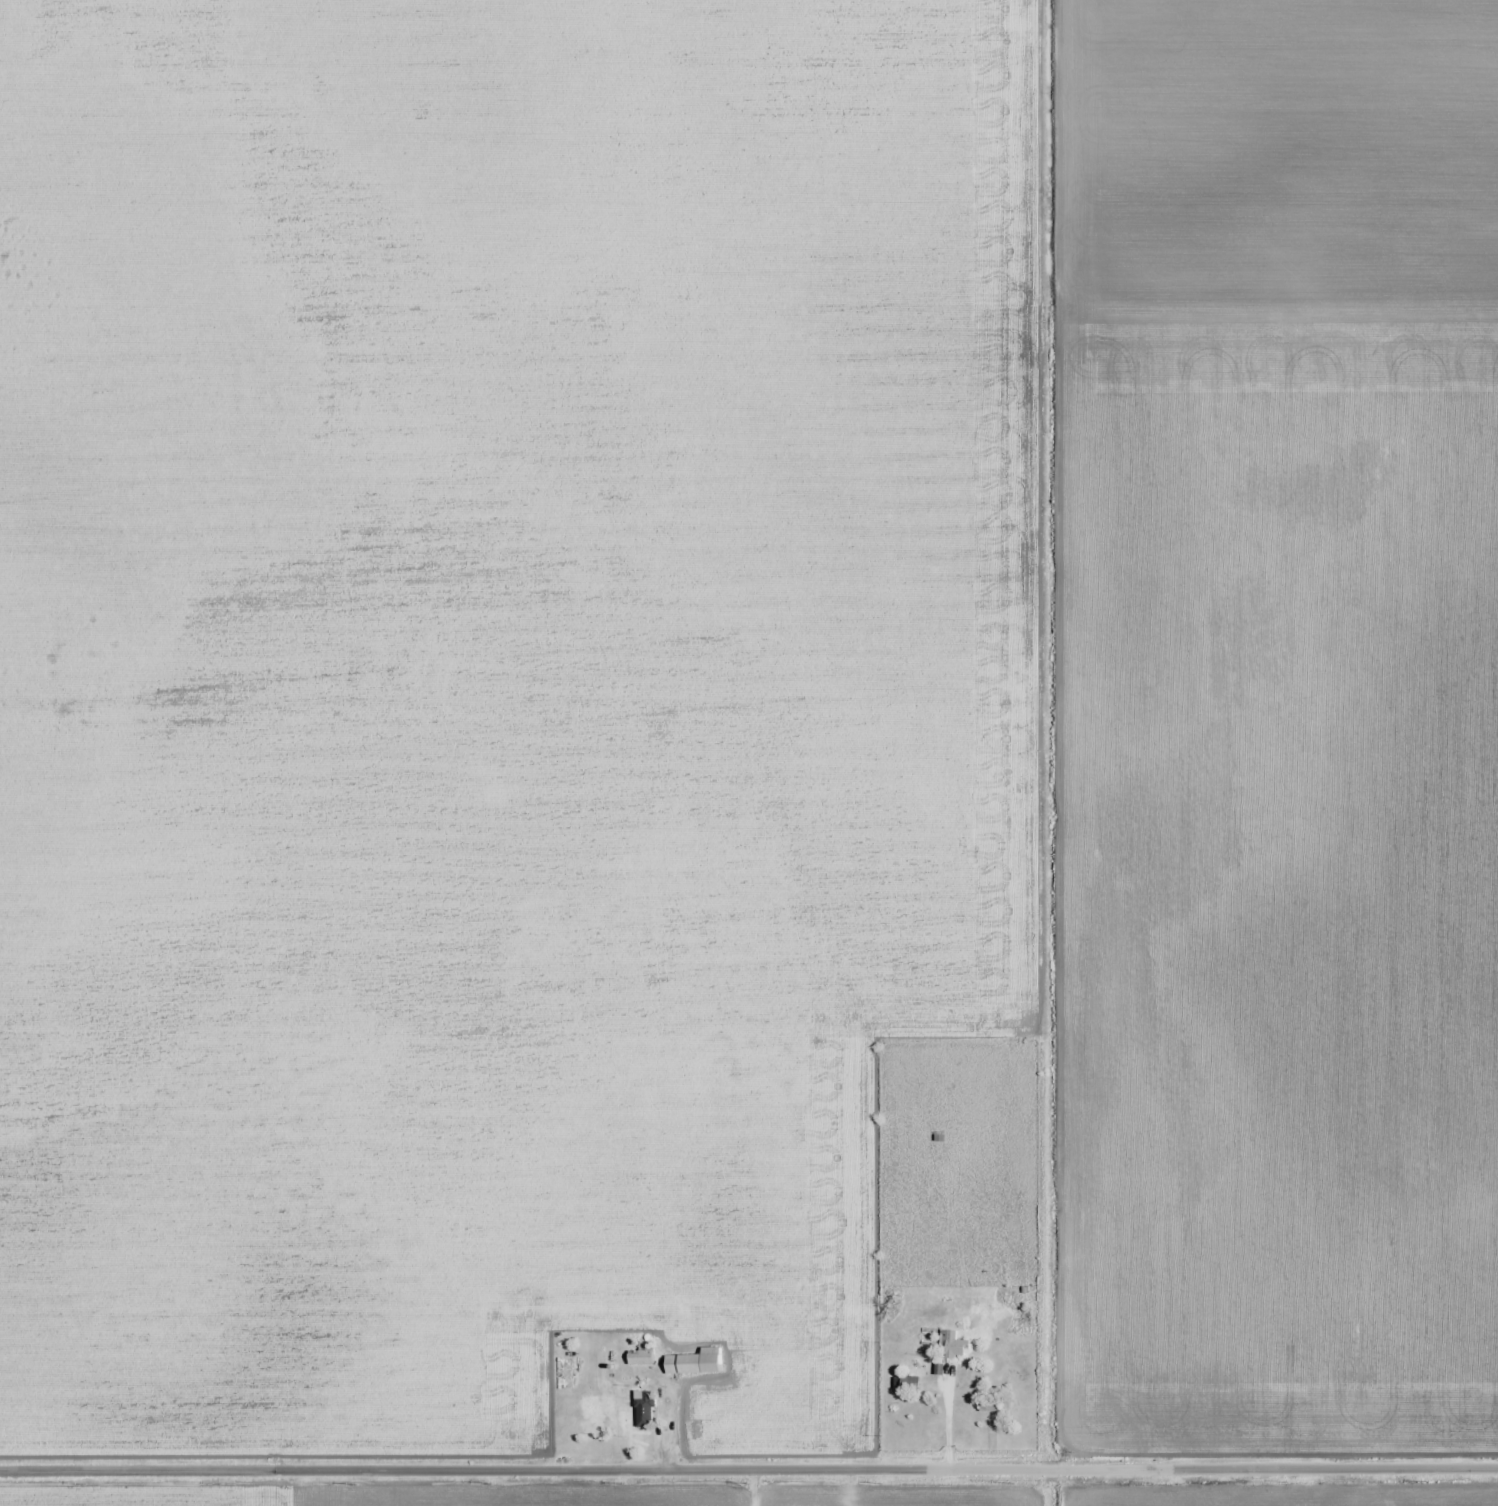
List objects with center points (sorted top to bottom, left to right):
airport: (1279, 159)
building: (529, 613)
building: (952, 1344)
building: (644, 1358)
building: (699, 1362)
building: (568, 1373)
building: (907, 1383)
building: (648, 1409)
road: (749, 1471)

